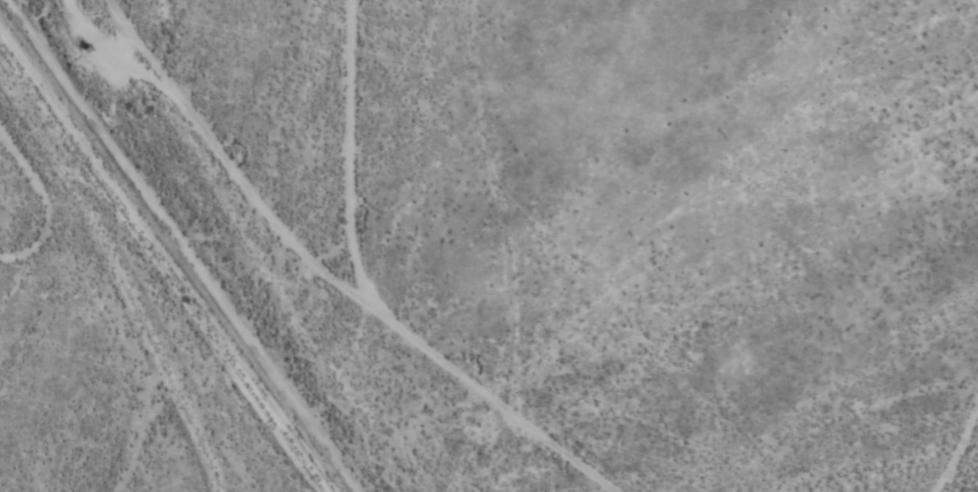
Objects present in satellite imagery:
road: (350, 153)
road: (233, 160)
road: (496, 397)
road: (957, 452)

